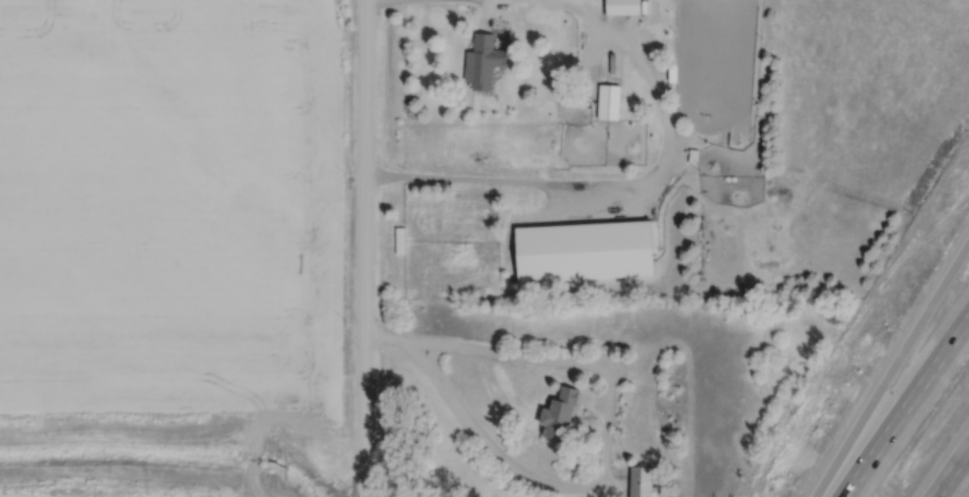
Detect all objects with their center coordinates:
road: (367, 0)
building: (620, 7)
building: (478, 61)
building: (605, 101)
road: (613, 180)
building: (396, 240)
road: (354, 248)
building: (579, 251)
road: (380, 344)
road: (891, 366)
road: (904, 405)
building: (554, 414)
road: (950, 469)
building: (636, 481)
road: (590, 492)

